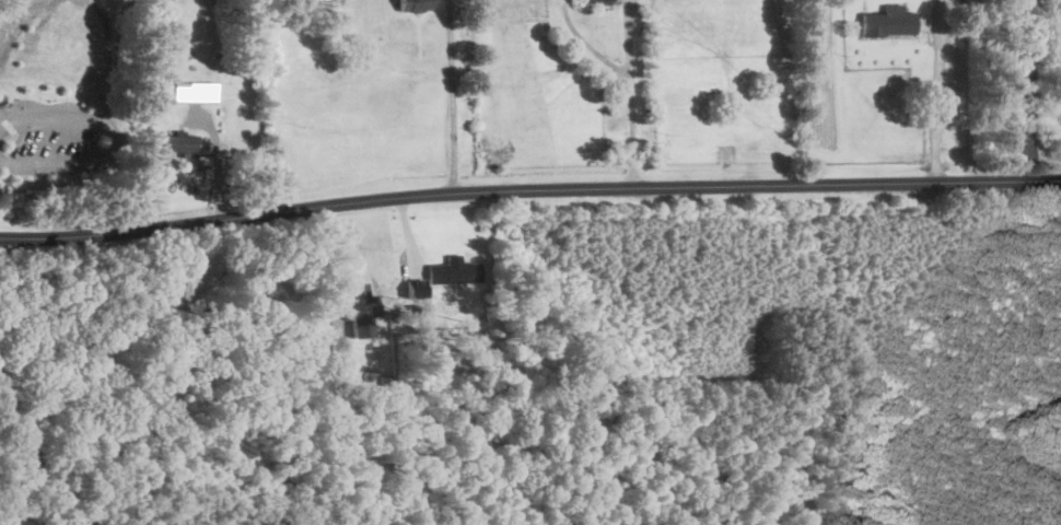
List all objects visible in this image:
building: (599, 0)
building: (415, 4)
building: (888, 21)
park: (50, 86)
road: (1027, 90)
building: (195, 91)
road: (451, 95)
road: (634, 95)
road: (936, 103)
building: (180, 142)
road: (528, 185)
building: (453, 270)
road: (165, 307)
building: (361, 307)

